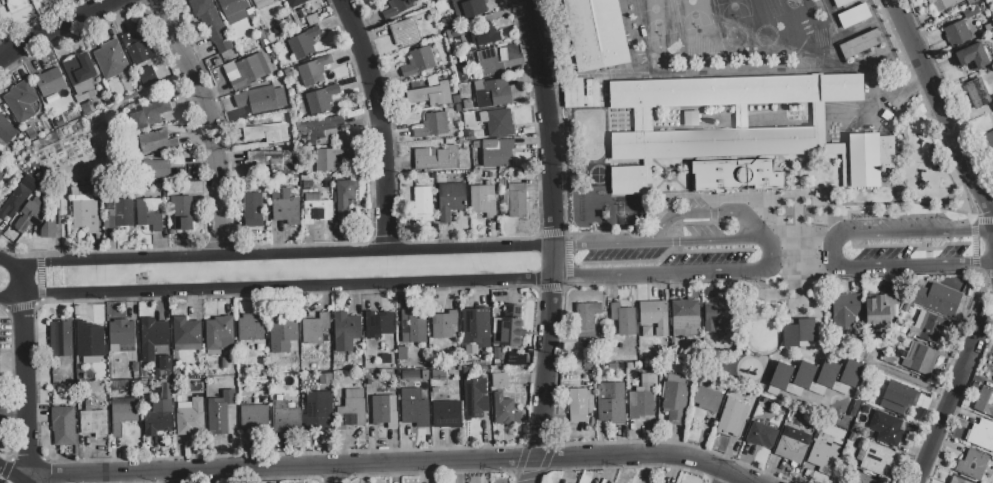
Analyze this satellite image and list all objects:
building: (970, 1)
building: (293, 2)
building: (840, 2)
building: (261, 3)
building: (941, 3)
building: (16, 4)
building: (397, 8)
building: (472, 8)
building: (234, 9)
building: (969, 11)
building: (295, 15)
building: (853, 15)
road: (541, 17)
road: (513, 19)
building: (211, 23)
road: (60, 28)
building: (405, 32)
building: (596, 33)
building: (956, 33)
building: (484, 34)
building: (858, 43)
building: (301, 44)
building: (137, 47)
building: (970, 56)
building: (110, 59)
building: (418, 61)
building: (489, 62)
building: (245, 70)
building: (313, 70)
building: (79, 72)
building: (147, 76)
building: (49, 81)
building: (491, 92)
building: (579, 92)
building: (977, 93)
building: (430, 94)
building: (321, 98)
building: (261, 99)
building: (21, 100)
building: (149, 113)
road: (550, 120)
building: (497, 122)
road: (210, 123)
road: (380, 123)
building: (736, 123)
road: (944, 123)
building: (432, 125)
building: (315, 129)
building: (7, 130)
building: (266, 132)
building: (989, 140)
building: (156, 141)
building: (496, 152)
building: (330, 158)
building: (436, 158)
building: (275, 160)
building: (155, 168)
building: (758, 174)
building: (714, 175)
building: (1, 176)
building: (344, 197)
building: (449, 199)
building: (482, 199)
building: (515, 199)
building: (13, 202)
building: (423, 203)
building: (285, 205)
building: (316, 207)
building: (84, 208)
building: (252, 209)
building: (148, 211)
building: (181, 211)
building: (119, 213)
road: (710, 215)
building: (35, 219)
road: (58, 227)
road: (972, 234)
road: (900, 236)
road: (706, 242)
road: (762, 242)
road: (625, 244)
parking lot: (895, 249)
parking lot: (675, 254)
road: (803, 254)
road: (288, 255)
road: (896, 269)
road: (20, 274)
road: (656, 276)
road: (285, 287)
building: (937, 298)
road: (980, 298)
road: (6, 302)
building: (879, 309)
building: (844, 310)
building: (654, 315)
building: (717, 315)
building: (685, 316)
building: (586, 317)
building: (623, 318)
building: (378, 324)
building: (444, 325)
building: (412, 326)
building: (476, 326)
building: (509, 326)
building: (249, 327)
building: (314, 328)
building: (933, 328)
building: (345, 330)
building: (185, 331)
building: (646, 331)
building: (798, 332)
building: (219, 333)
building: (282, 333)
building: (121, 335)
building: (151, 337)
building: (60, 338)
building: (89, 339)
building: (401, 353)
building: (515, 357)
building: (917, 357)
building: (385, 358)
building: (165, 364)
road: (547, 364)
building: (225, 365)
building: (851, 372)
building: (827, 373)
building: (804, 374)
building: (781, 375)
building: (410, 376)
building: (324, 378)
building: (499, 379)
building: (838, 386)
road: (27, 389)
building: (55, 391)
building: (708, 396)
building: (896, 396)
building: (1, 397)
building: (474, 397)
building: (674, 397)
building: (588, 398)
building: (641, 401)
road: (950, 401)
building: (610, 402)
building: (984, 402)
building: (577, 405)
building: (414, 408)
building: (351, 409)
building: (504, 409)
building: (318, 410)
building: (383, 410)
building: (219, 411)
building: (122, 413)
building: (283, 414)
building: (446, 414)
building: (253, 416)
building: (732, 416)
building: (157, 417)
building: (189, 422)
building: (93, 423)
building: (63, 426)
building: (889, 430)
building: (761, 434)
building: (982, 434)
building: (791, 444)
building: (823, 456)
building: (874, 457)
building: (972, 464)
road: (397, 465)
road: (340, 475)
road: (9, 476)
road: (726, 477)
building: (864, 478)
building: (957, 480)

